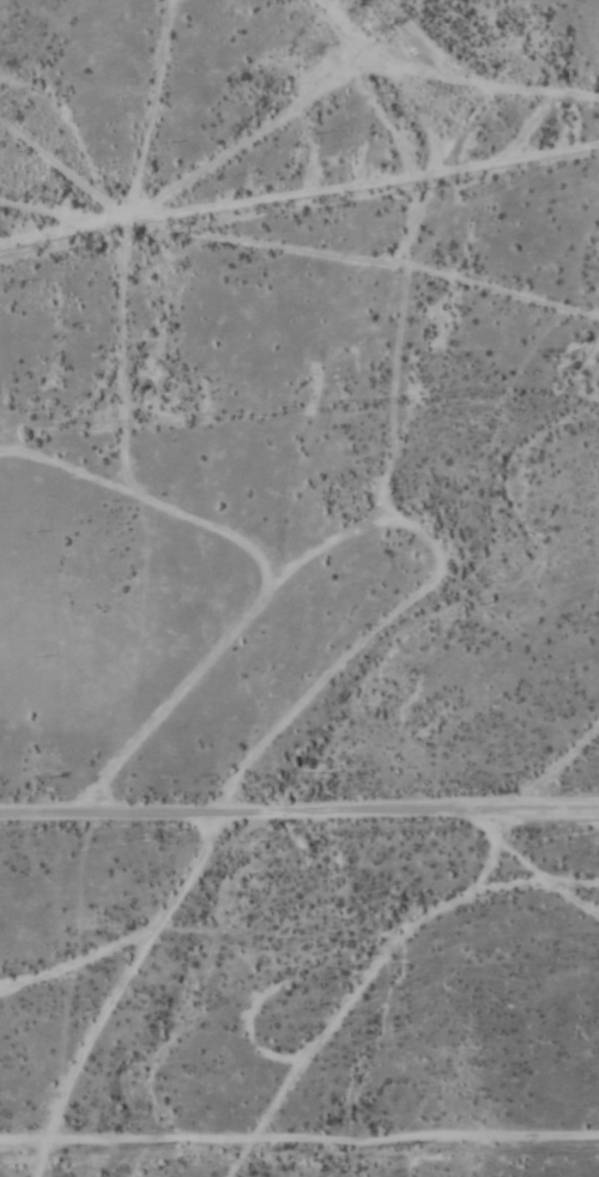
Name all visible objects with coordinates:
road: (298, 847)

